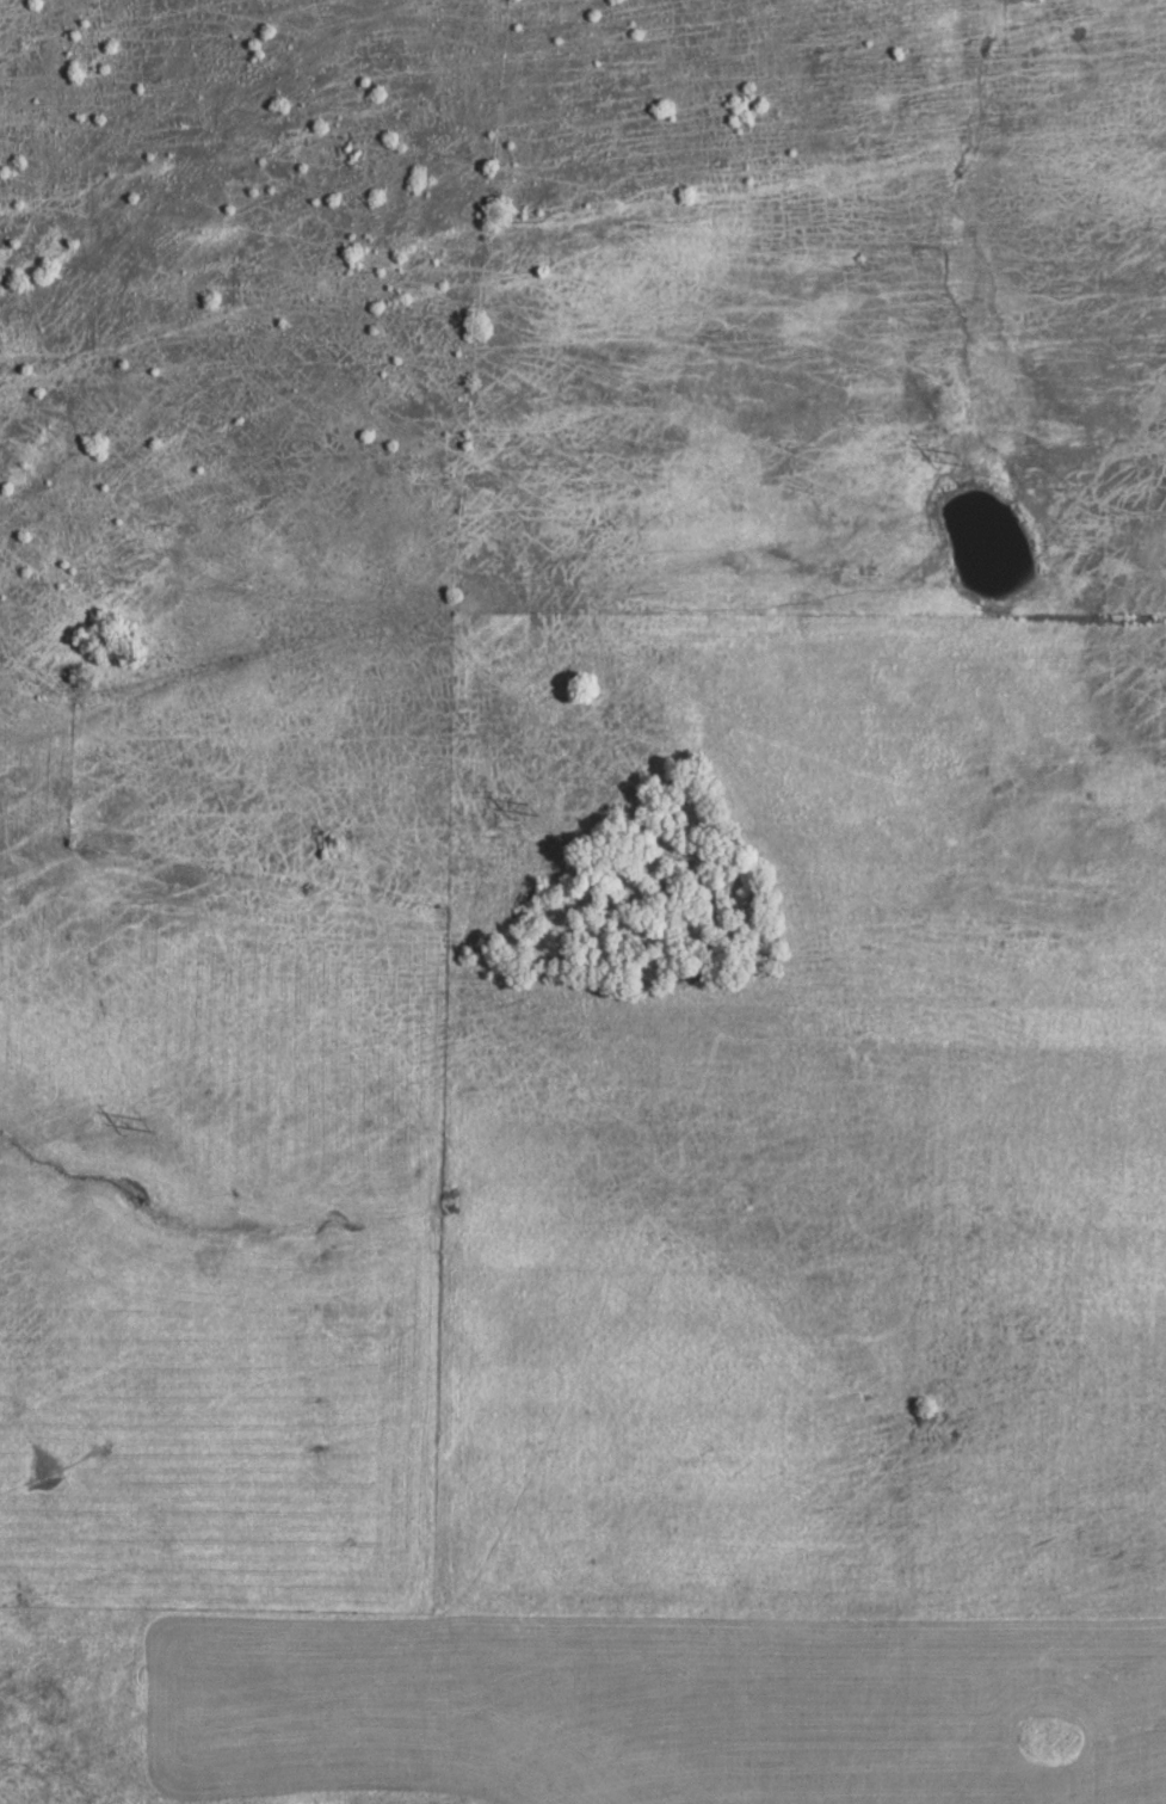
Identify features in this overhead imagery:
power tower: (956, 456)
power tower: (525, 806)
power tower: (149, 1127)

